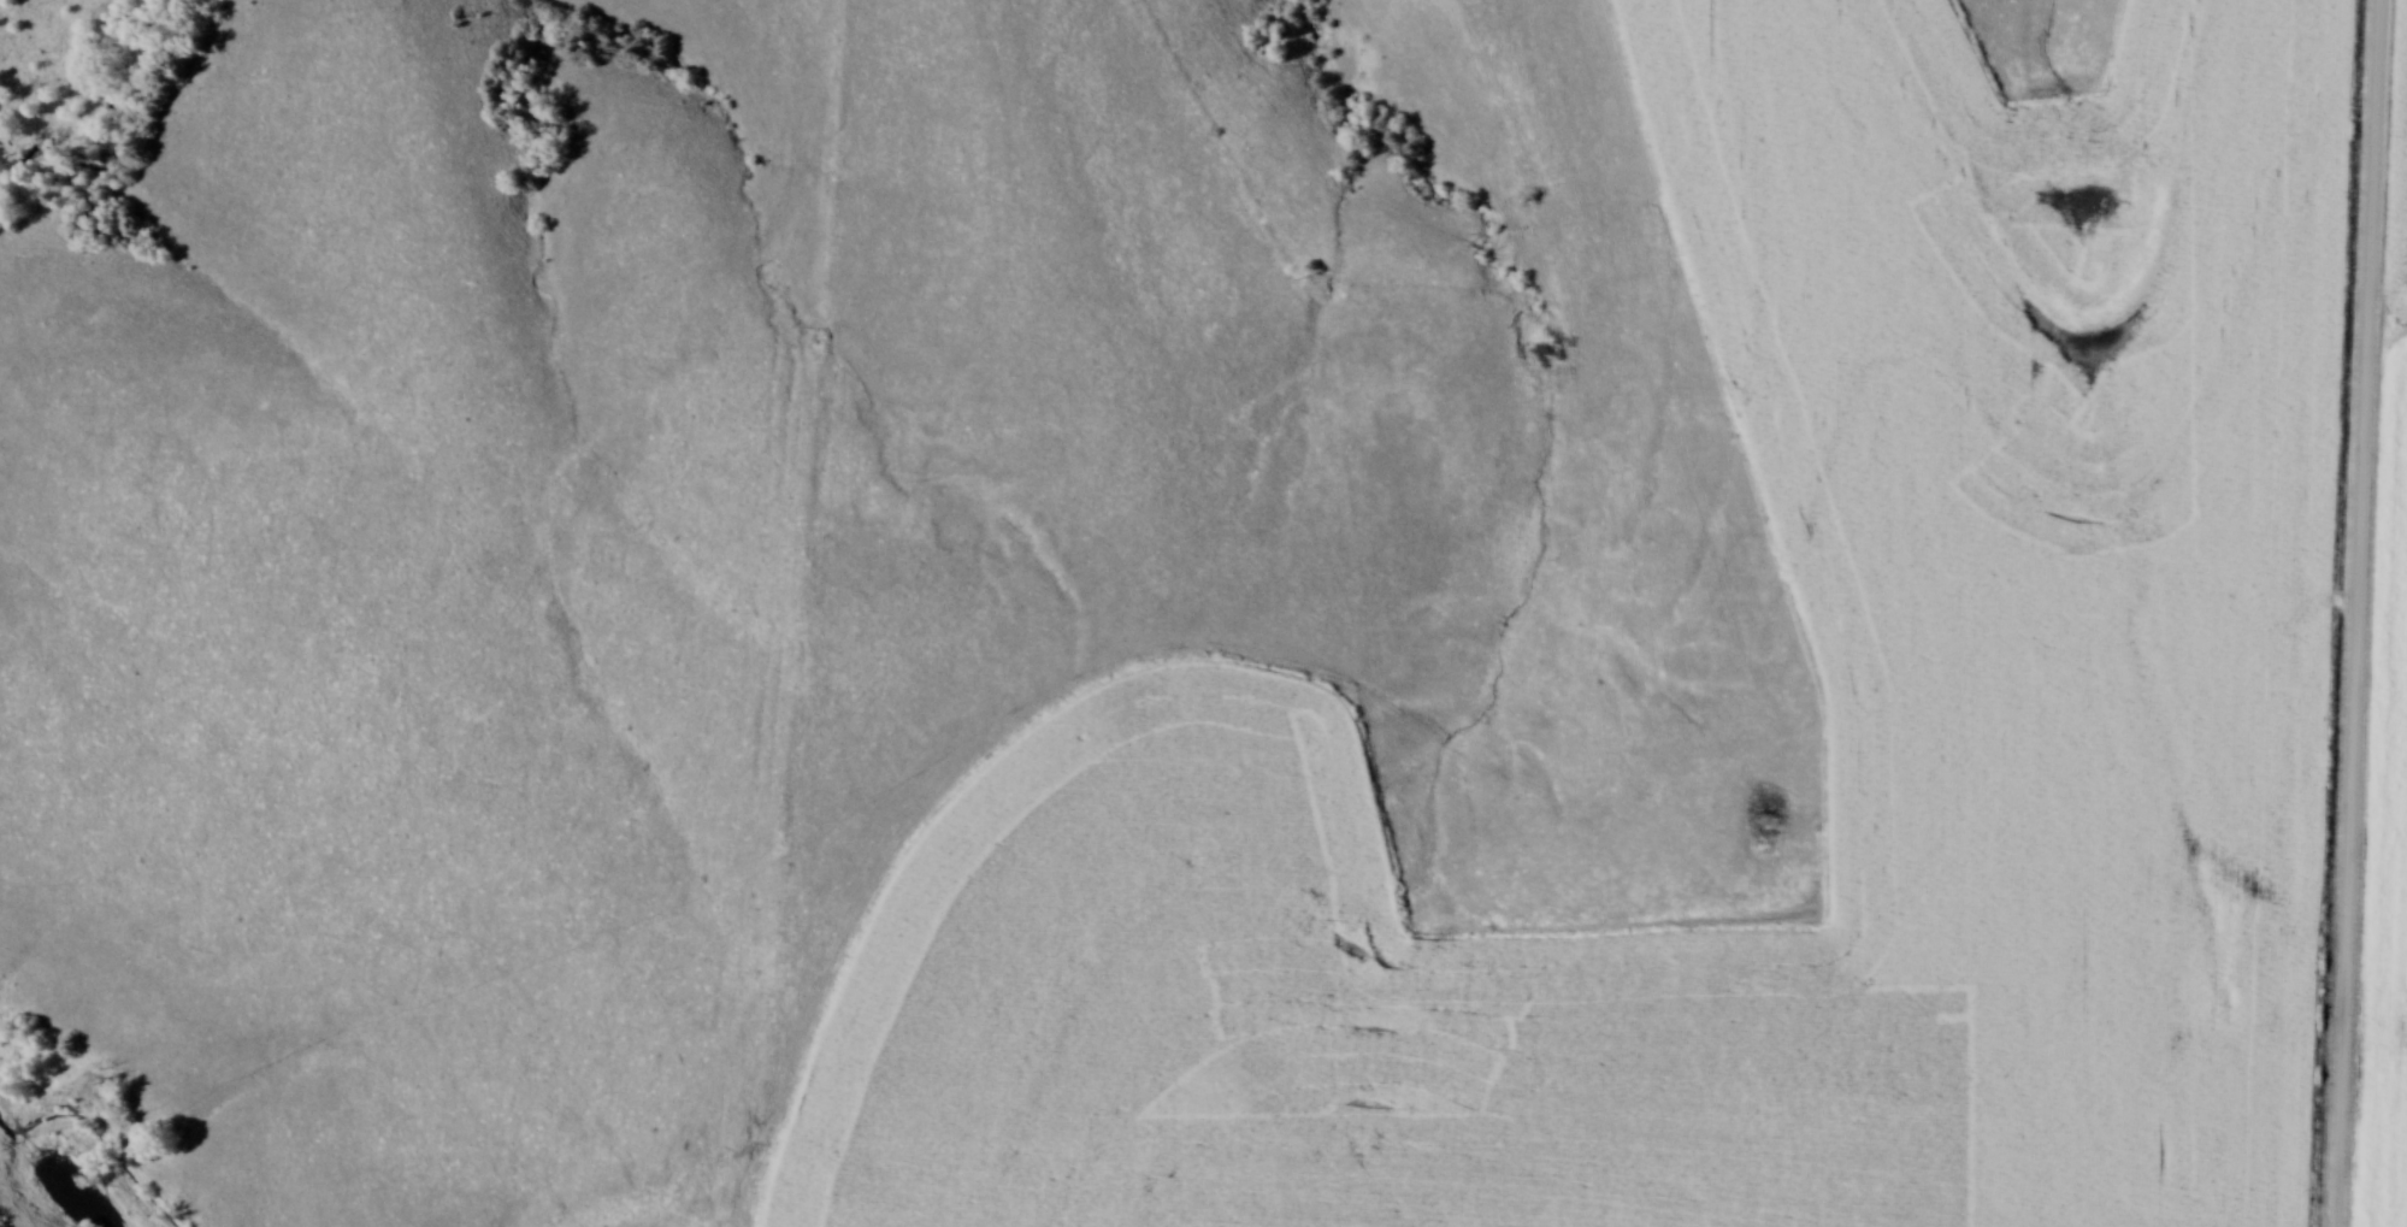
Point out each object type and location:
road: (2335, 613)

